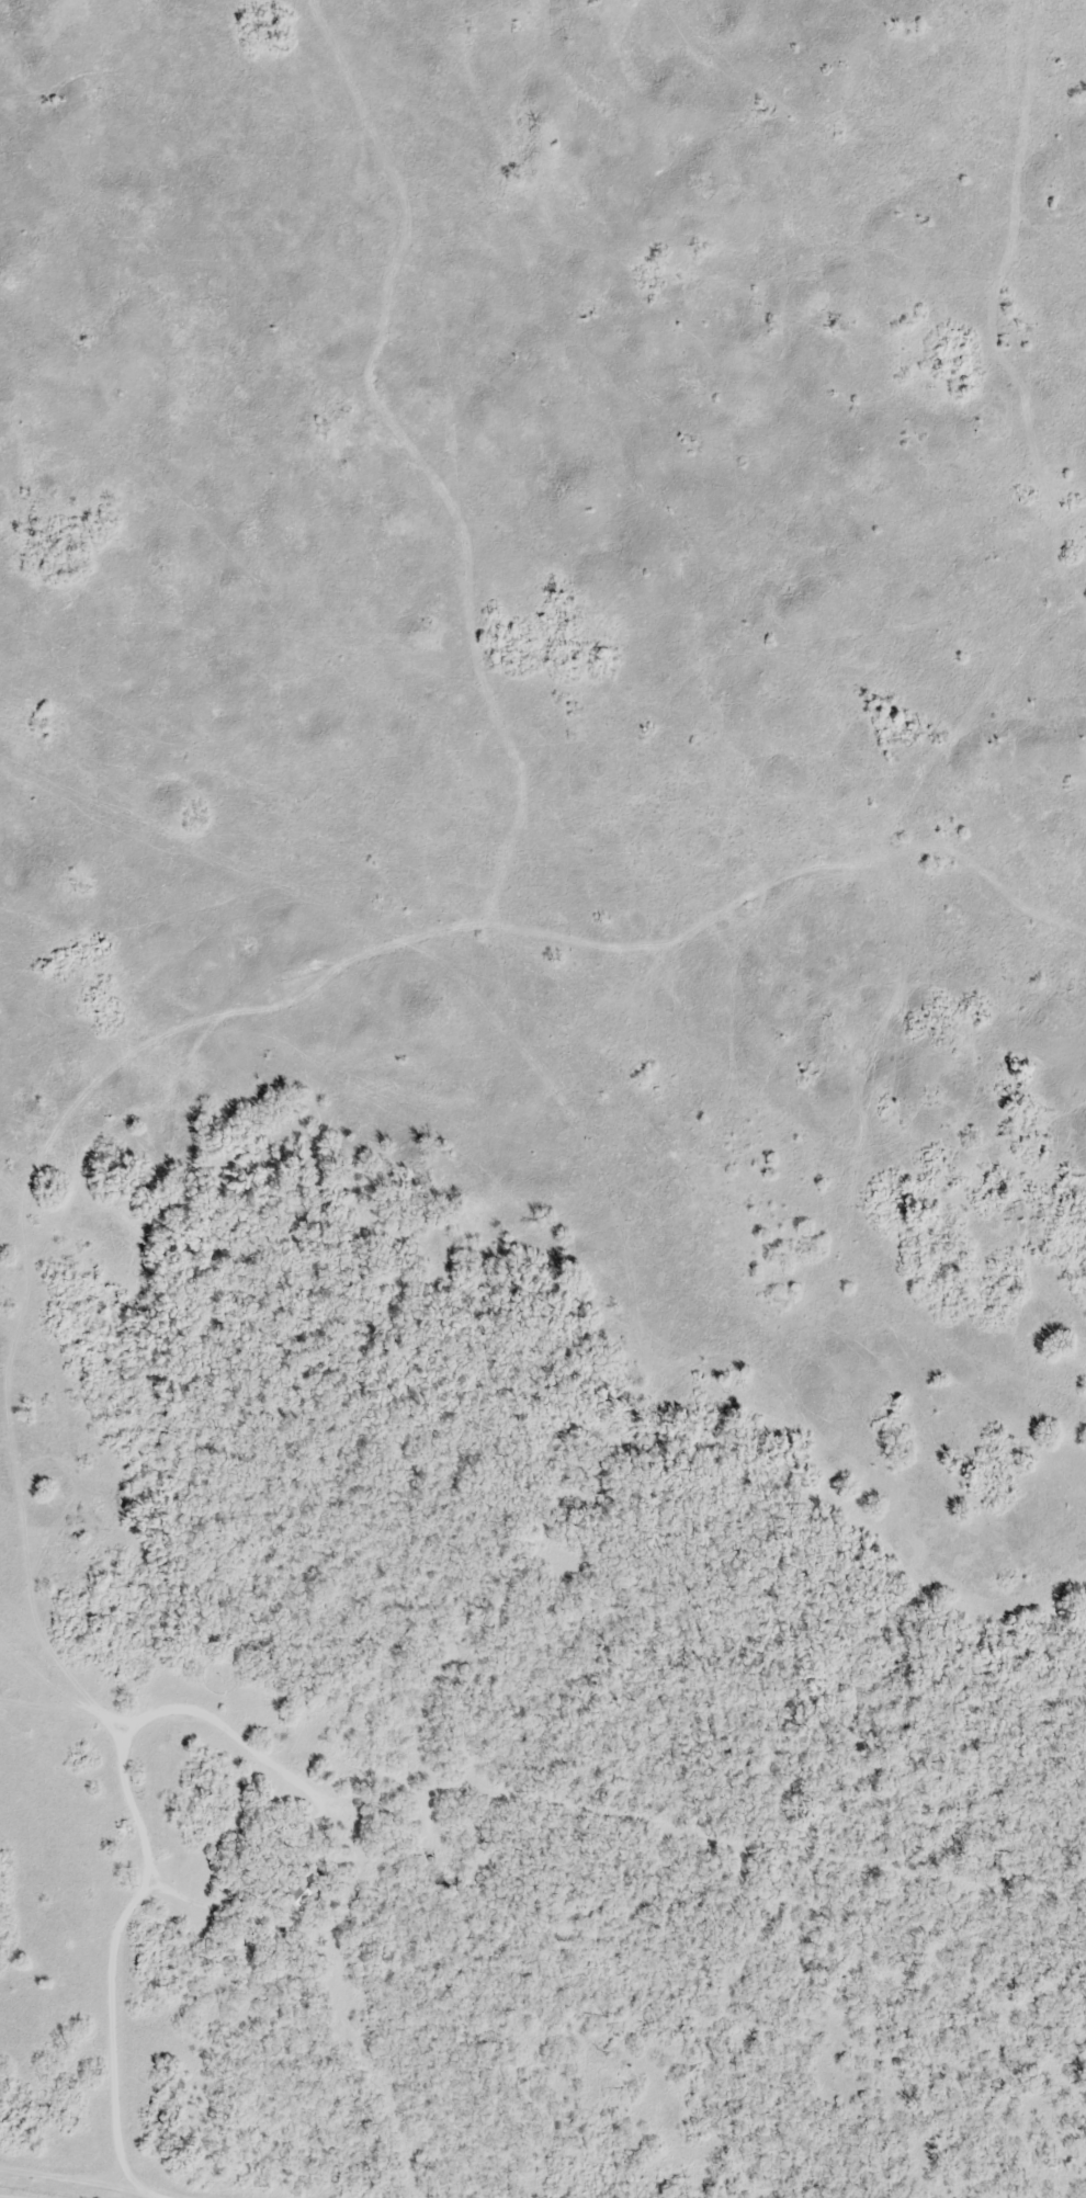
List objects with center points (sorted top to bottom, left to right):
building: (305, 1892)
road: (102, 2173)
road: (224, 2194)

